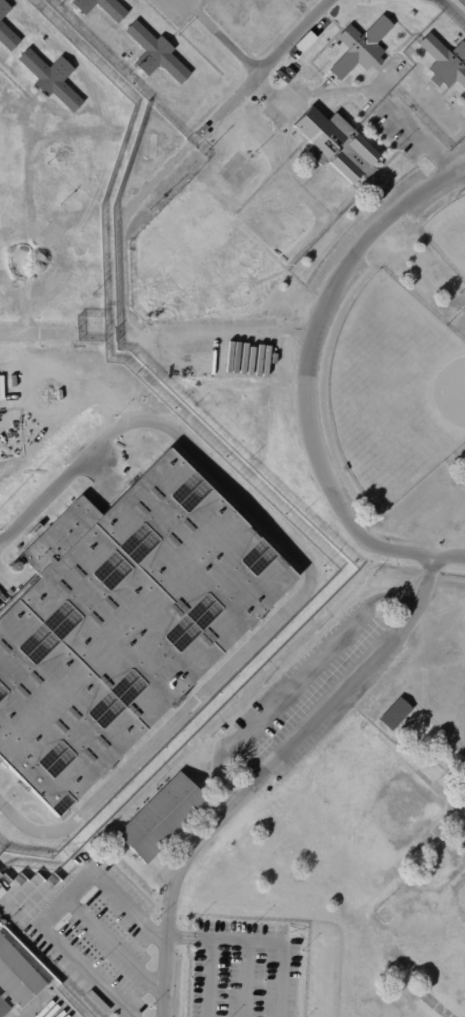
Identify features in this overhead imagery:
building: (103, 7)
building: (4, 8)
road: (453, 10)
building: (8, 37)
building: (302, 42)
building: (360, 46)
building: (155, 52)
building: (445, 61)
building: (52, 77)
road: (306, 92)
road: (427, 140)
building: (337, 146)
road: (119, 224)
park: (448, 238)
building: (201, 253)
road: (307, 365)
park: (394, 391)
building: (33, 530)
road: (449, 557)
road: (307, 581)
building: (122, 623)
road: (294, 679)
park: (437, 686)
building: (395, 714)
road: (265, 773)
park: (371, 812)
building: (162, 819)
building: (0, 876)
road: (51, 908)
park: (440, 928)
road: (263, 939)
road: (110, 944)
road: (210, 977)
building: (17, 979)
road: (125, 1014)

